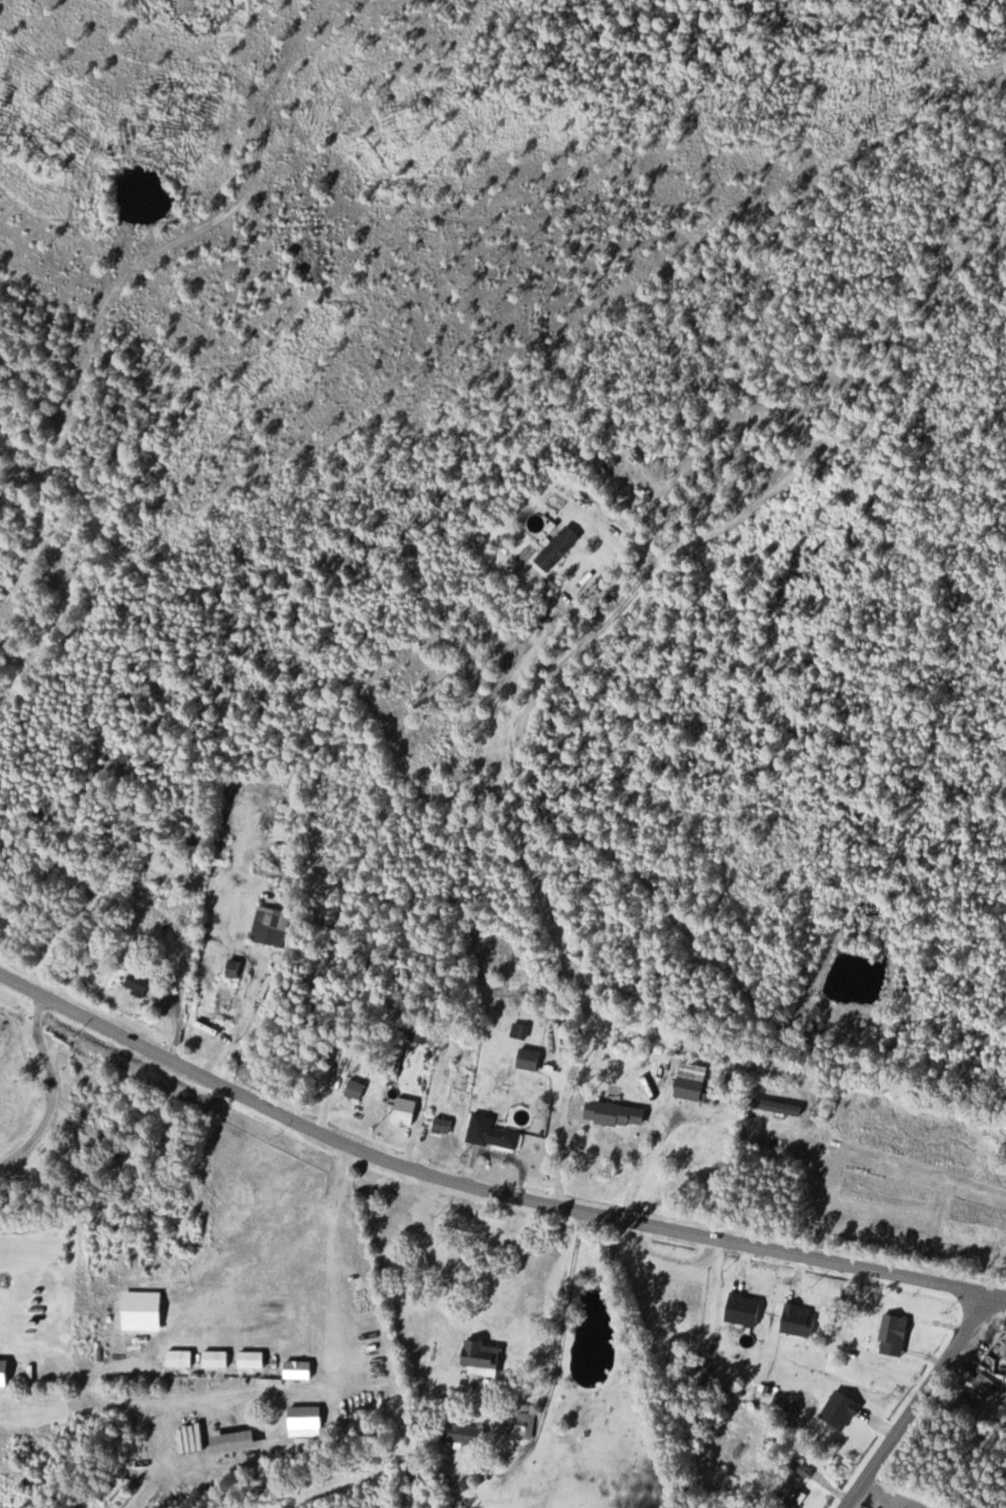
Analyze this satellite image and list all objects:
building: (560, 548)
building: (274, 926)
building: (140, 983)
building: (228, 997)
building: (521, 1030)
building: (531, 1059)
building: (698, 1082)
building: (357, 1089)
building: (408, 1114)
building: (619, 1114)
building: (444, 1125)
building: (495, 1133)
road: (485, 1182)
road: (355, 1212)
building: (897, 1335)
road: (149, 1346)
building: (486, 1355)
building: (218, 1359)
building: (254, 1360)
building: (301, 1370)
building: (983, 1386)
road: (913, 1400)
building: (310, 1421)
building: (527, 1426)
building: (240, 1443)
building: (794, 1495)

